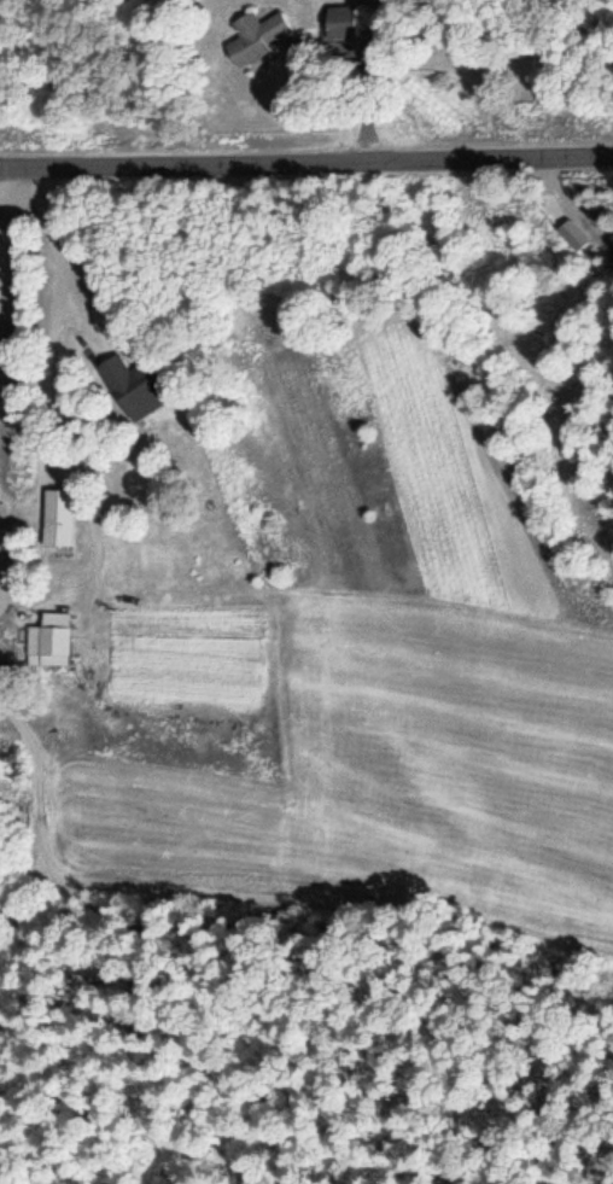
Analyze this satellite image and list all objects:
building: (340, 19)
building: (255, 34)
road: (305, 154)
building: (612, 234)
road: (2, 307)
road: (83, 322)
road: (52, 326)
building: (134, 384)
building: (57, 515)
building: (48, 637)
road: (111, 945)

